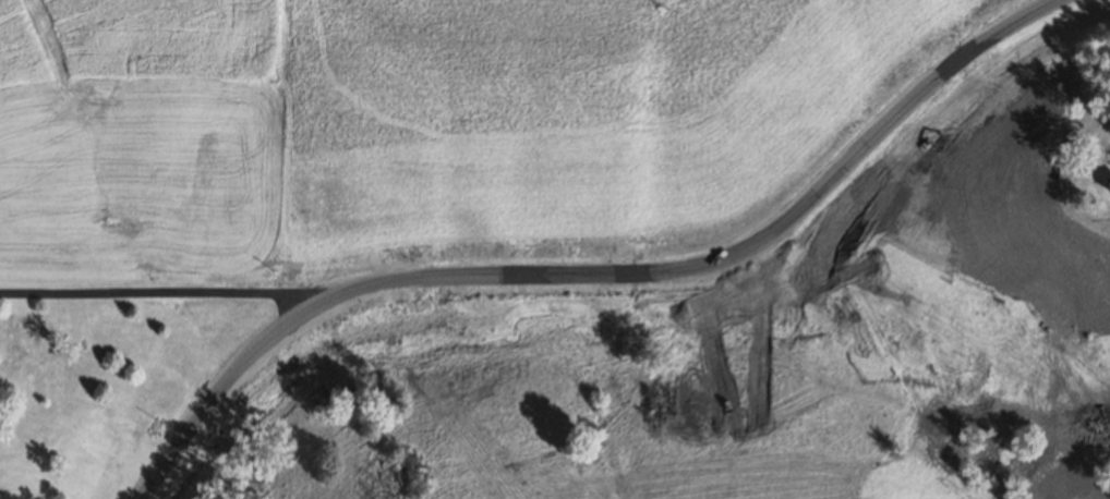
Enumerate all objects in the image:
building: (1031, 251)
road: (588, 275)
building: (1061, 304)

